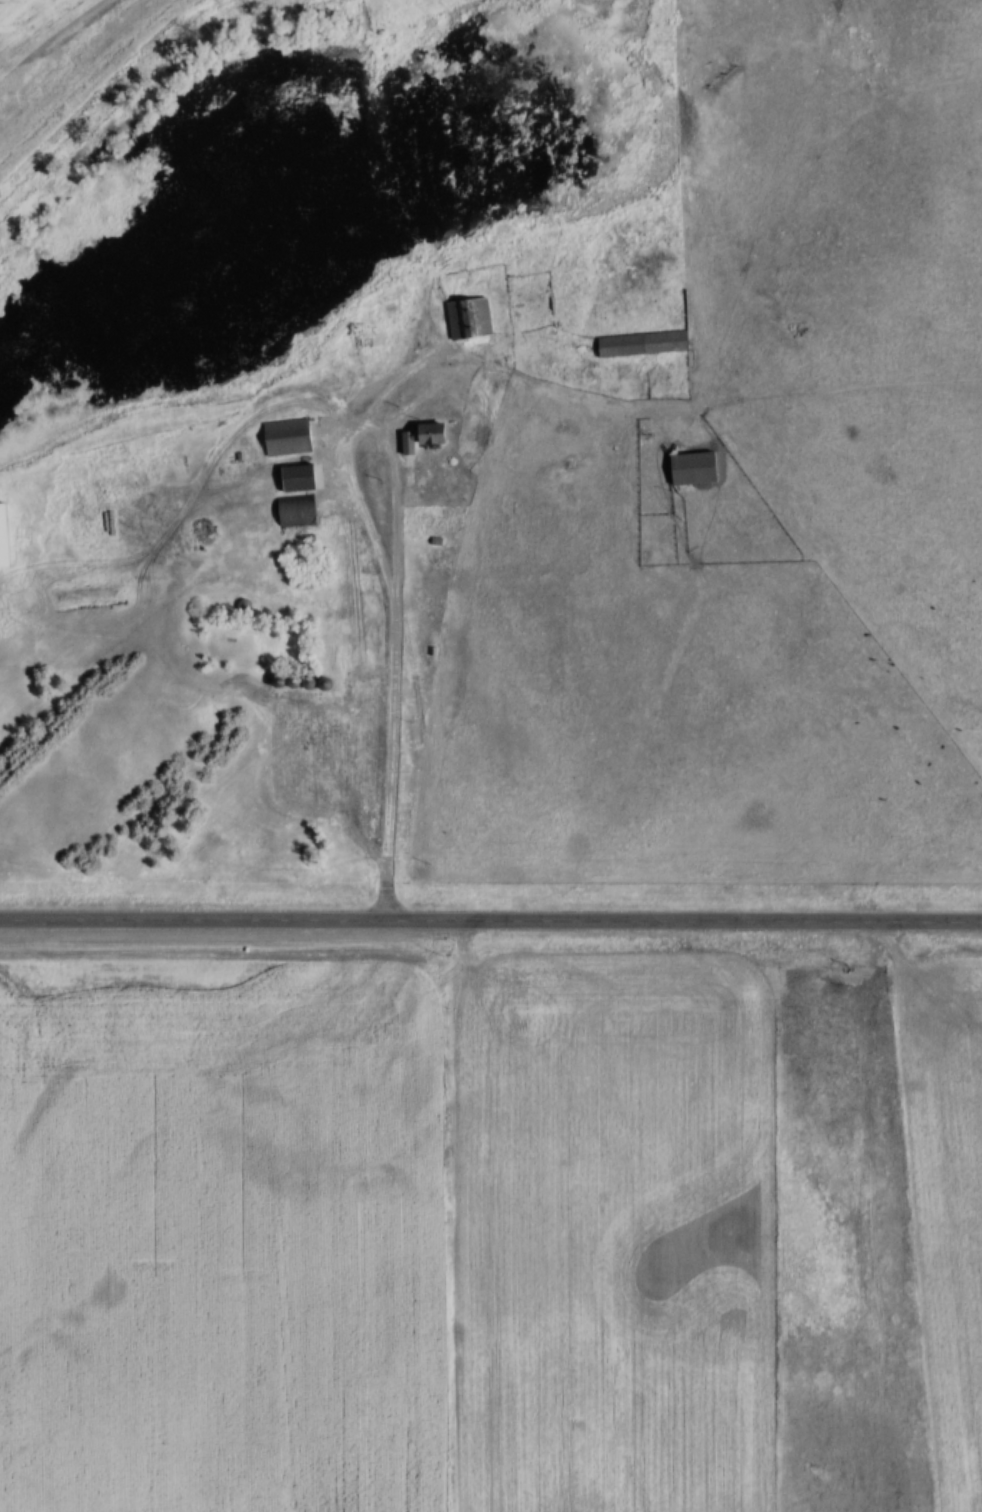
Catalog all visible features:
building: (387, 313)
building: (468, 318)
building: (640, 343)
building: (428, 435)
building: (286, 437)
building: (693, 468)
building: (299, 477)
building: (296, 511)
building: (4, 537)
road: (491, 918)

